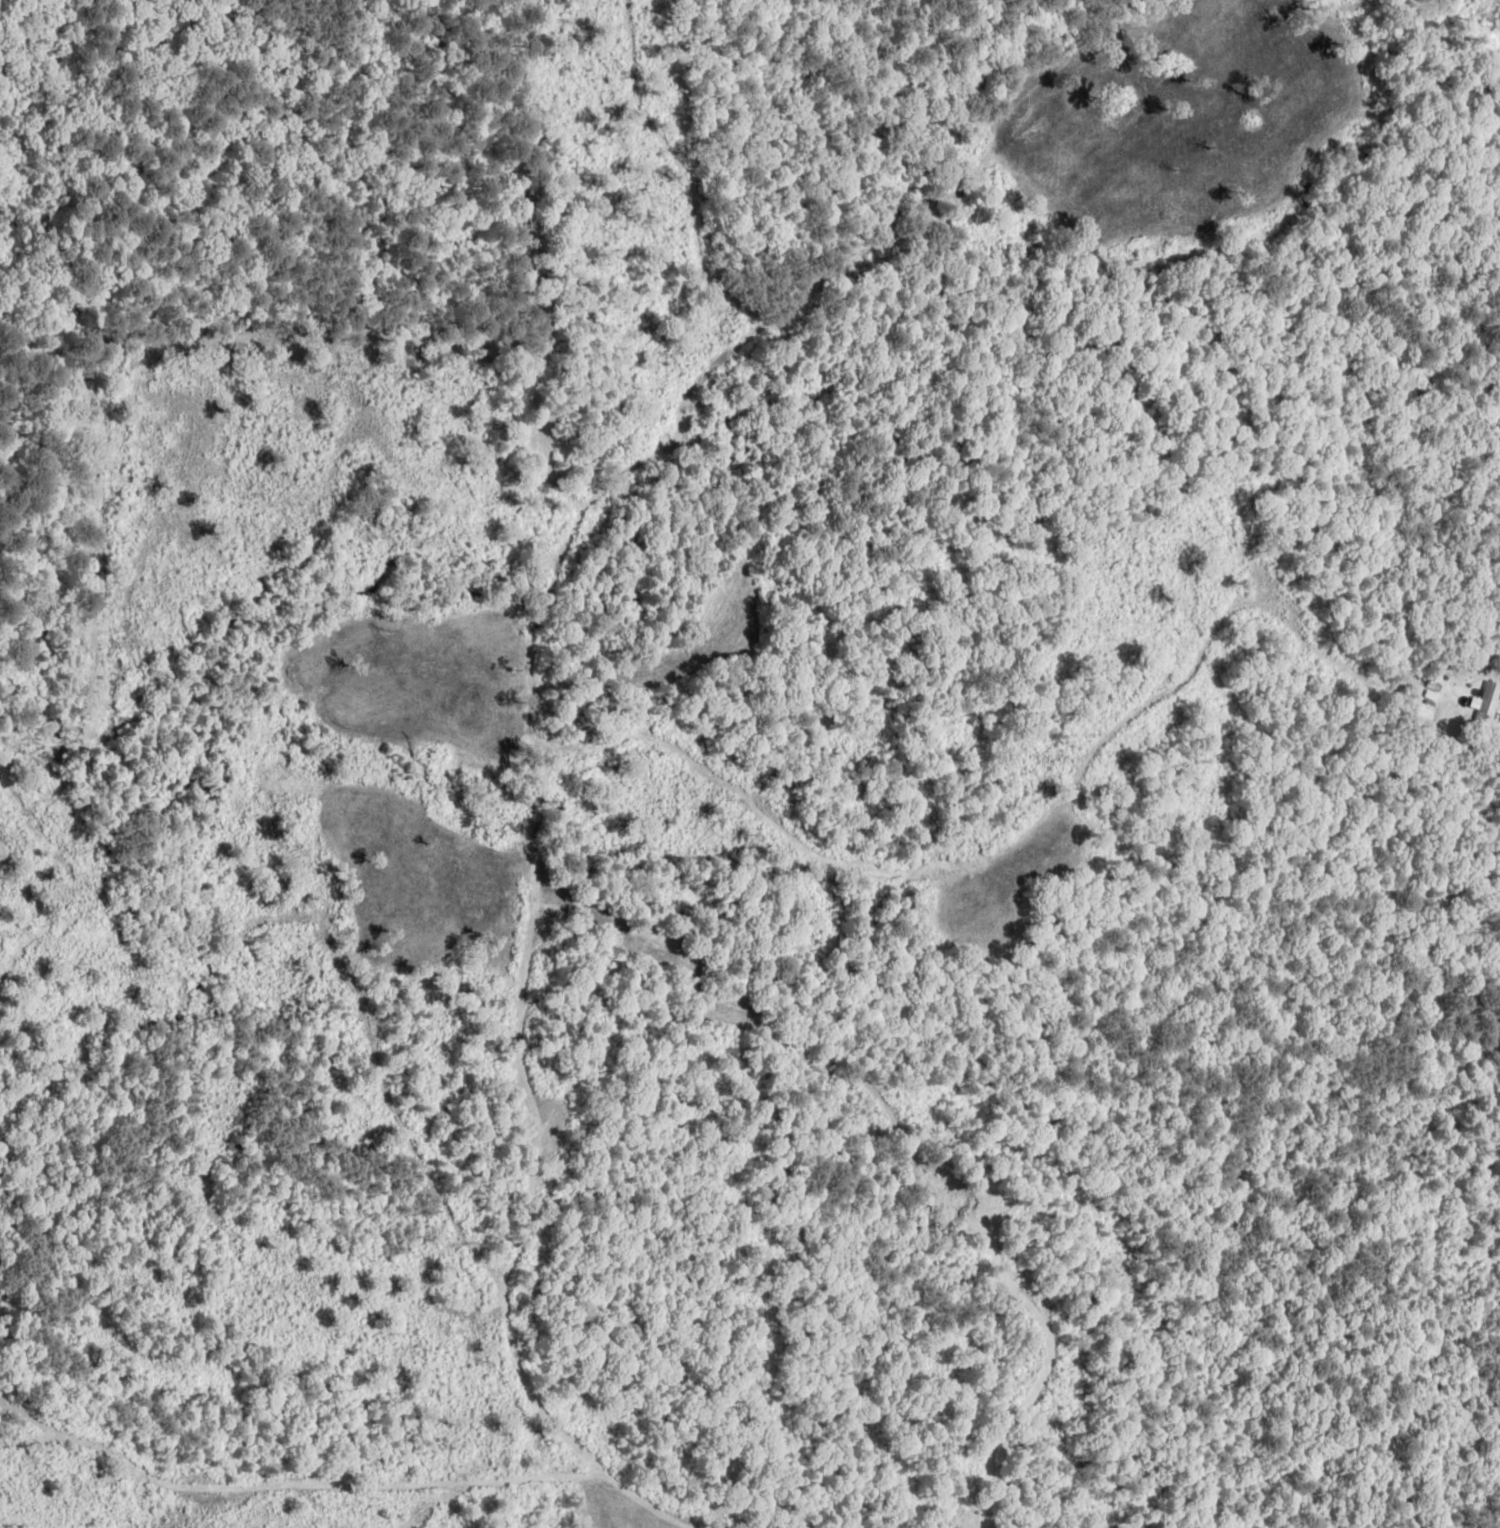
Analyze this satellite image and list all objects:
road: (353, 1490)

